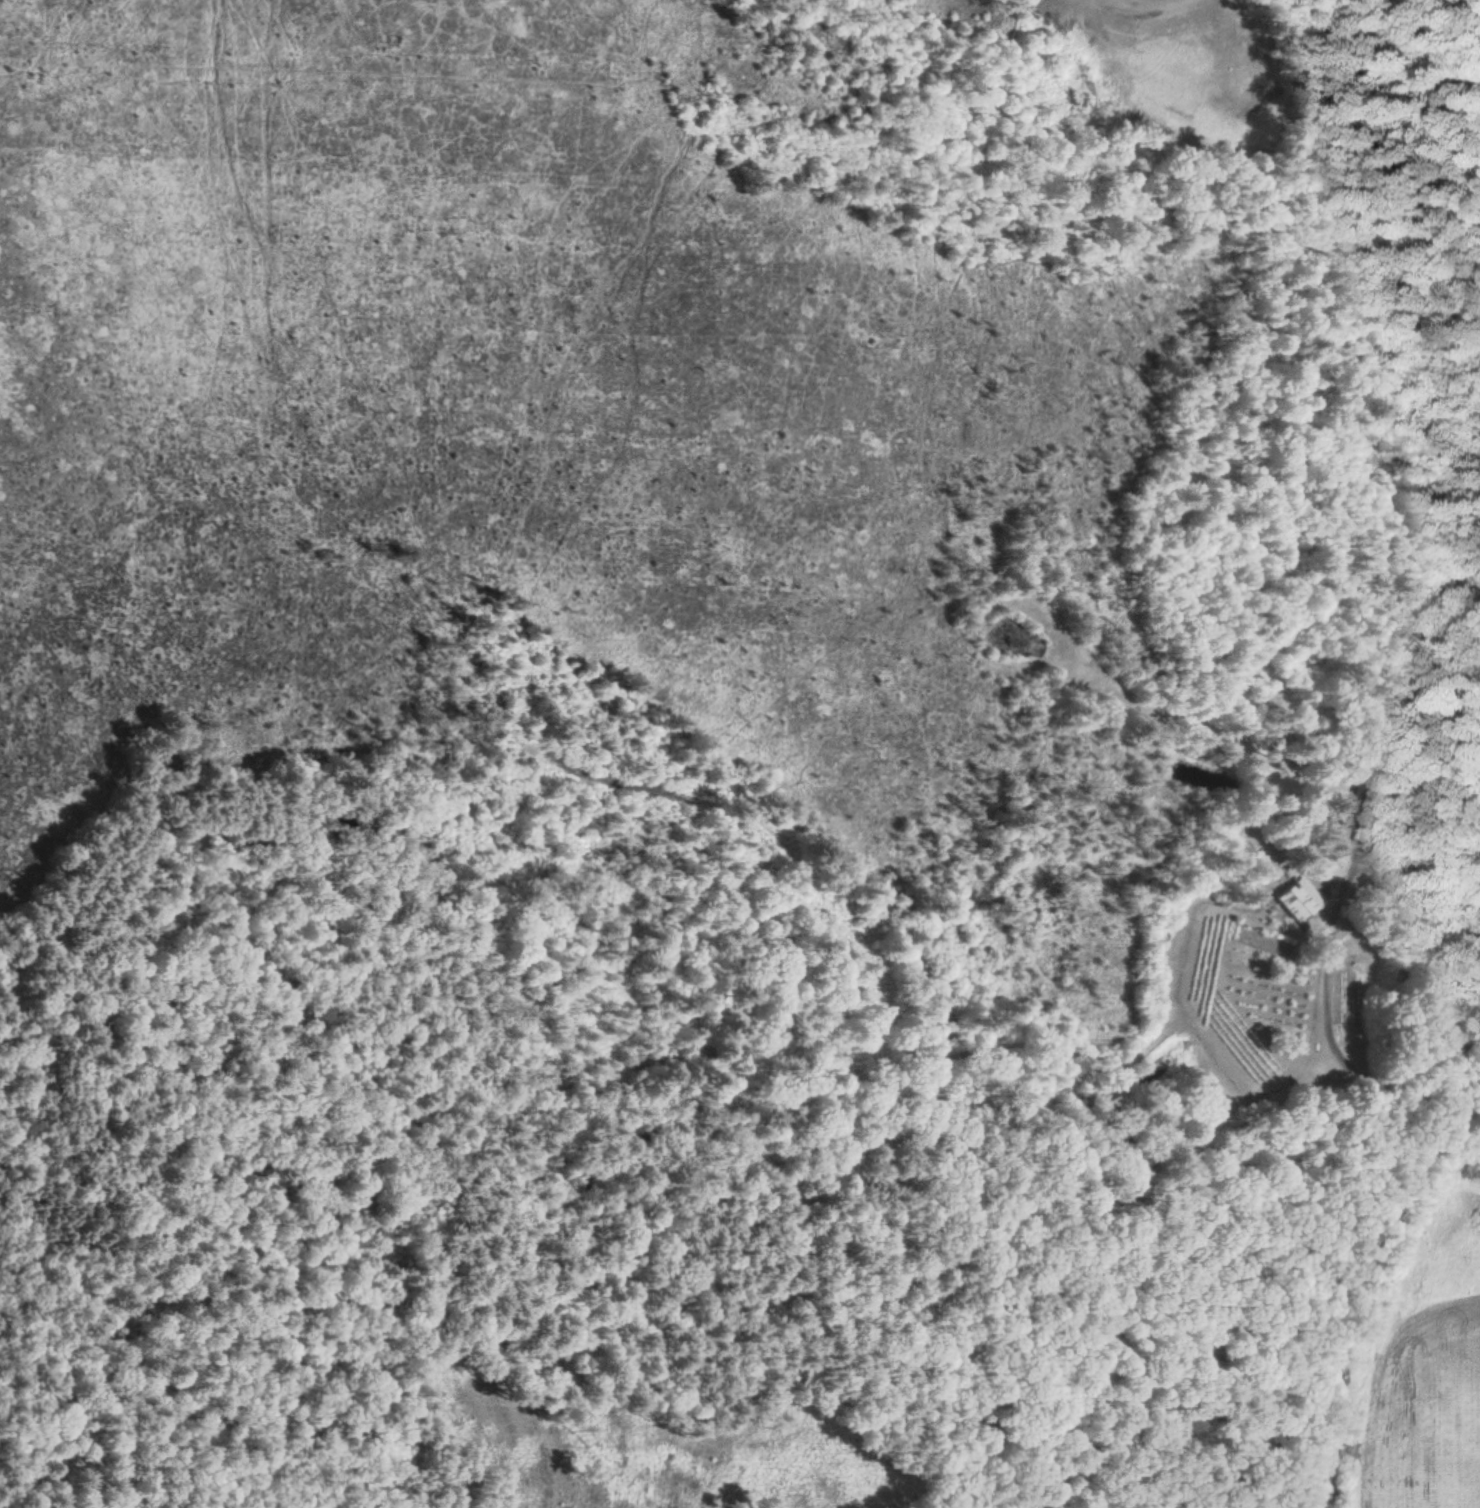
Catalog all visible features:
building: (1355, 803)
building: (1289, 903)
road: (1322, 1031)

